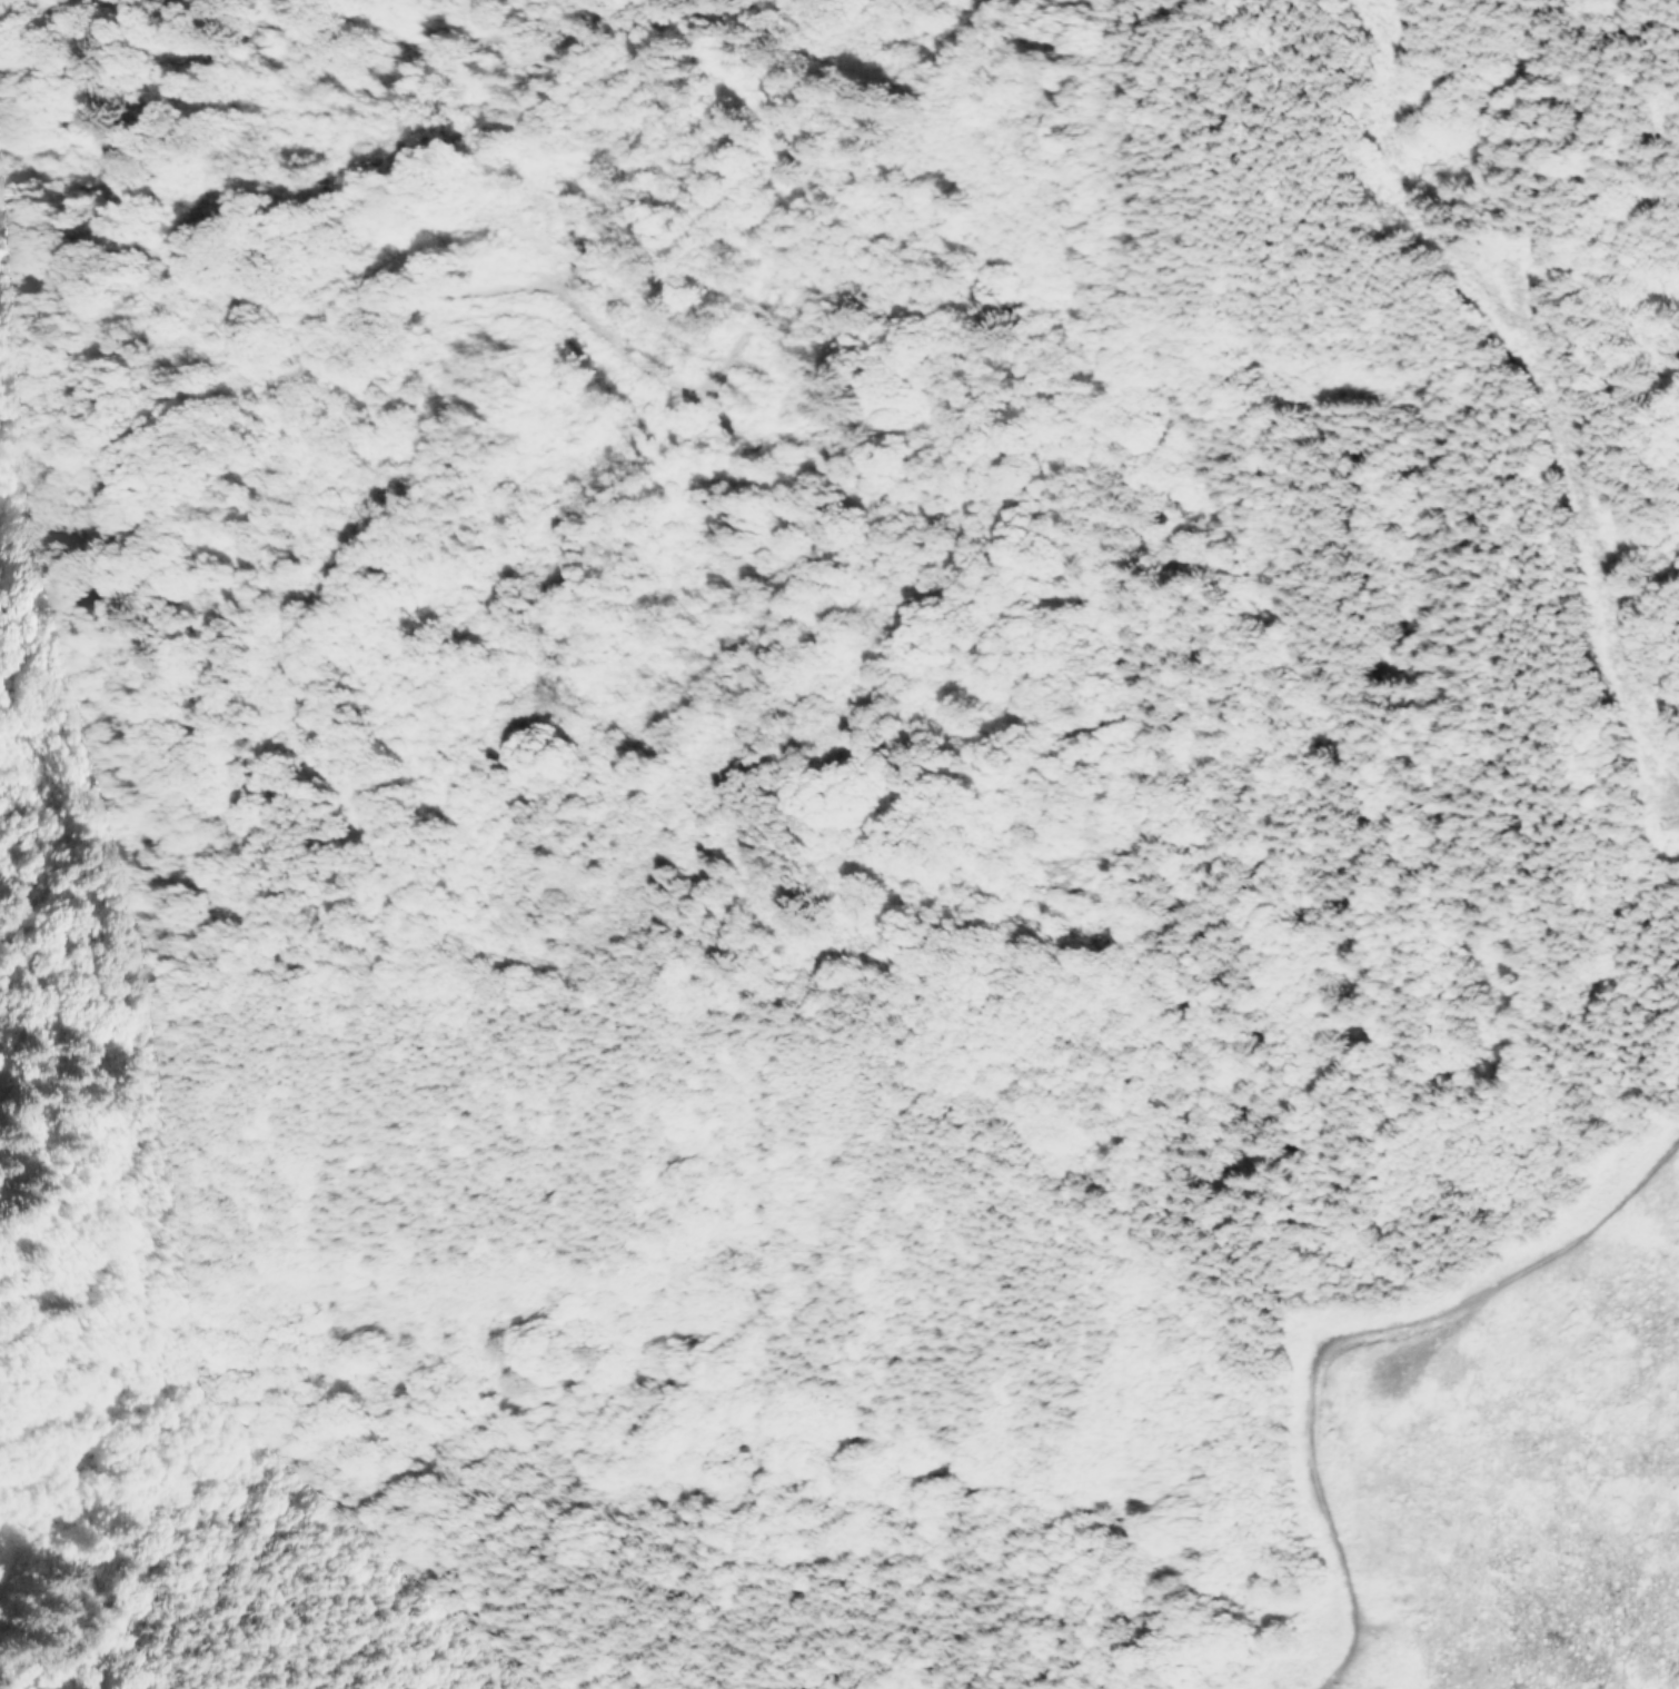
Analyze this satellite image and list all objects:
road: (1549, 395)
road: (1342, 1322)

